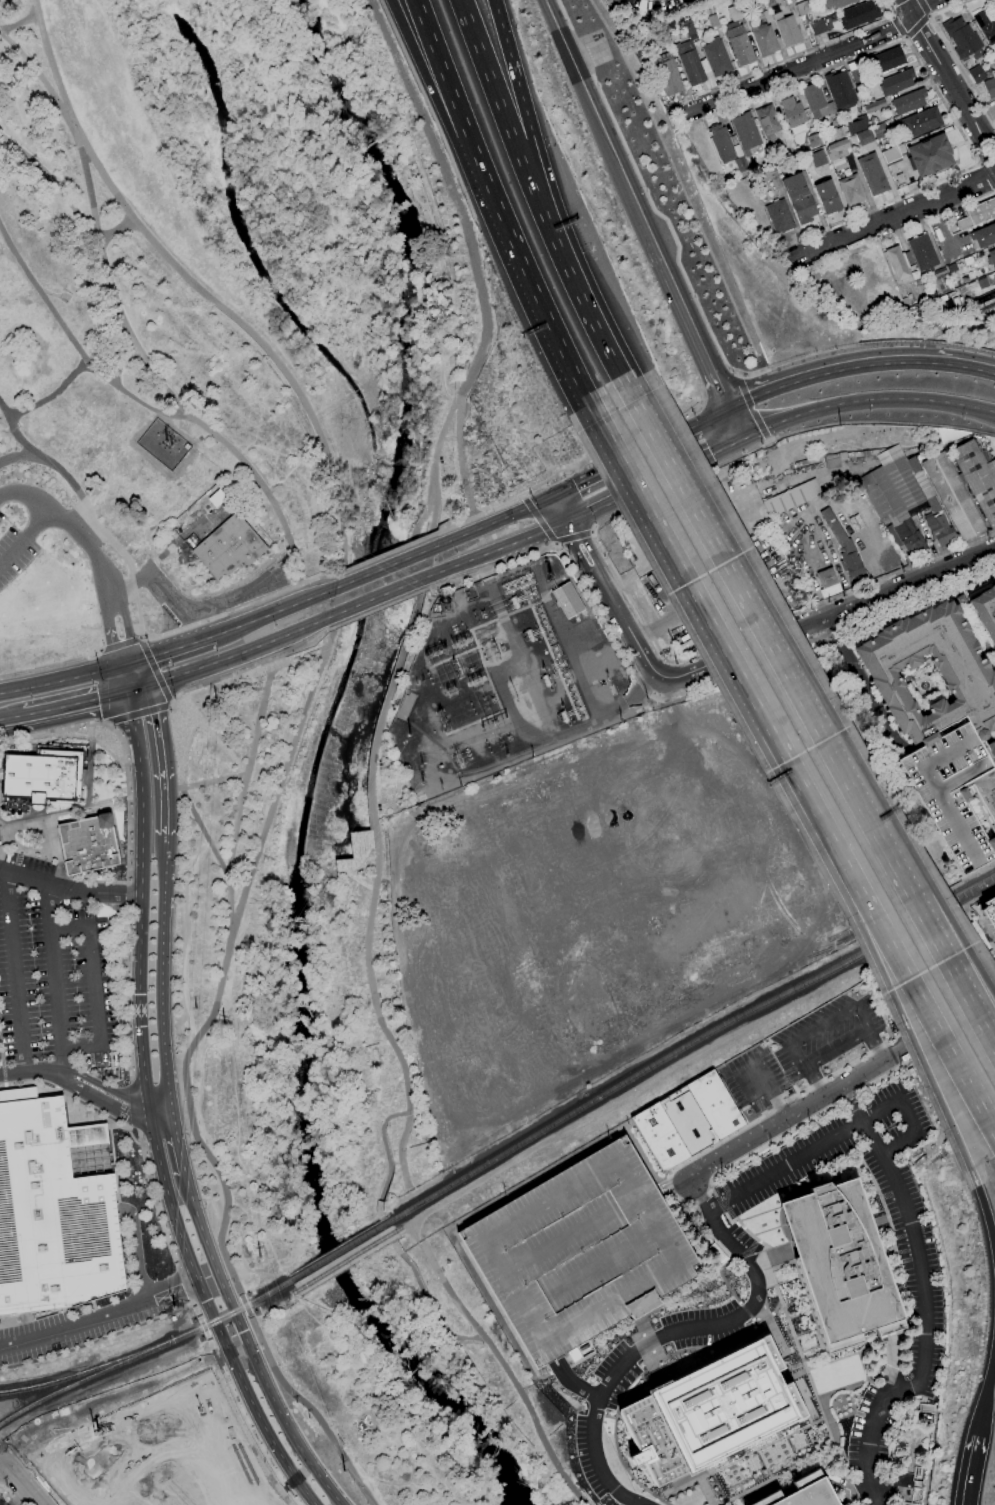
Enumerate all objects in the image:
building: (784, 0)
road: (897, 1)
building: (612, 3)
building: (770, 3)
building: (835, 3)
road: (890, 5)
road: (921, 5)
building: (802, 7)
road: (923, 7)
building: (735, 12)
building: (858, 14)
building: (766, 15)
road: (929, 15)
road: (892, 16)
building: (712, 20)
road: (21, 23)
road: (916, 25)
building: (818, 27)
road: (899, 27)
building: (786, 28)
building: (986, 28)
building: (689, 29)
building: (960, 36)
road: (905, 37)
building: (763, 39)
building: (738, 43)
road: (952, 52)
road: (863, 55)
road: (792, 56)
building: (716, 57)
building: (888, 58)
road: (938, 61)
building: (689, 62)
building: (704, 65)
road: (796, 66)
road: (512, 67)
building: (666, 73)
building: (855, 73)
building: (976, 74)
road: (448, 80)
building: (896, 81)
road: (429, 84)
building: (989, 86)
road: (494, 88)
building: (839, 90)
building: (815, 100)
building: (909, 101)
building: (878, 104)
building: (792, 111)
building: (872, 120)
building: (767, 121)
building: (921, 122)
road: (602, 123)
building: (857, 125)
building: (879, 130)
building: (745, 131)
building: (837, 133)
road: (986, 133)
building: (864, 137)
building: (814, 140)
building: (720, 142)
road: (981, 147)
building: (836, 149)
building: (736, 150)
building: (753, 151)
building: (930, 154)
building: (890, 155)
road: (529, 156)
building: (817, 158)
road: (988, 160)
building: (740, 163)
road: (980, 163)
building: (872, 174)
road: (987, 176)
building: (772, 177)
road: (55, 182)
building: (851, 189)
road: (452, 191)
building: (827, 196)
building: (798, 198)
road: (653, 204)
road: (879, 205)
building: (978, 214)
building: (778, 215)
road: (895, 215)
road: (118, 228)
road: (976, 228)
road: (946, 230)
road: (901, 232)
building: (984, 236)
building: (924, 253)
building: (991, 257)
building: (898, 263)
building: (952, 268)
building: (941, 272)
road: (573, 281)
road: (530, 283)
building: (943, 283)
building: (983, 283)
building: (973, 286)
park: (236, 317)
road: (130, 328)
road: (692, 328)
road: (74, 343)
road: (118, 346)
road: (858, 366)
road: (739, 376)
road: (629, 391)
road: (52, 396)
road: (867, 401)
road: (751, 407)
traffic signals: (728, 409)
road: (593, 411)
road: (713, 417)
road: (736, 424)
traffic signals: (744, 439)
road: (769, 439)
building: (163, 444)
power substation: (164, 445)
road: (14, 456)
road: (33, 456)
road: (462, 459)
road: (626, 460)
building: (913, 464)
road: (718, 465)
road: (666, 476)
building: (923, 484)
building: (891, 487)
building: (965, 488)
traffic signals: (554, 496)
road: (525, 497)
building: (791, 497)
road: (562, 509)
road: (480, 515)
road: (579, 518)
road: (540, 520)
road: (494, 521)
traffic signals: (570, 523)
road: (33, 525)
building: (904, 528)
building: (939, 529)
building: (837, 531)
road: (592, 532)
road: (574, 537)
road: (86, 541)
building: (912, 541)
road: (556, 542)
road: (558, 543)
building: (234, 547)
river: (381, 547)
road: (499, 549)
parking lot: (13, 550)
road: (386, 554)
road: (160, 556)
road: (278, 560)
road: (676, 561)
building: (851, 563)
road: (491, 566)
road: (384, 567)
building: (827, 582)
road: (212, 592)
parking lot: (215, 594)
road: (379, 596)
building: (567, 600)
road: (828, 600)
building: (961, 600)
road: (613, 601)
road: (192, 605)
road: (377, 608)
power tower: (450, 608)
building: (985, 611)
road: (108, 612)
road: (273, 612)
road: (333, 612)
road: (829, 616)
road: (128, 627)
road: (166, 632)
road: (141, 636)
road: (119, 643)
road: (98, 644)
road: (112, 646)
road: (176, 649)
road: (240, 653)
traffic signals: (139, 661)
road: (49, 663)
road: (128, 663)
traffic signals: (118, 666)
road: (250, 666)
road: (154, 668)
road: (740, 670)
road: (143, 673)
building: (967, 674)
road: (678, 676)
road: (122, 678)
road: (59, 679)
power substation: (505, 679)
traffic signals: (148, 685)
road: (137, 688)
road: (863, 688)
traffic signals: (126, 691)
power tower: (218, 699)
road: (592, 699)
road: (75, 703)
road: (169, 704)
road: (137, 712)
road: (12, 717)
road: (105, 723)
road: (814, 724)
road: (176, 743)
fountain: (79, 745)
building: (990, 751)
road: (164, 758)
road: (236, 759)
road: (90, 765)
road: (249, 770)
building: (40, 777)
road: (373, 788)
building: (986, 791)
building: (953, 792)
parking lot: (953, 792)
road: (78, 811)
road: (1, 823)
road: (2, 831)
road: (207, 834)
road: (54, 841)
building: (88, 844)
road: (129, 844)
road: (32, 854)
building: (356, 854)
parking lot: (28, 862)
road: (357, 865)
road: (89, 882)
road: (70, 889)
building: (991, 902)
road: (229, 908)
road: (874, 918)
road: (955, 928)
road: (864, 932)
road: (162, 971)
road: (18, 973)
parking lot: (55, 978)
road: (57, 979)
road: (95, 986)
power tower: (199, 1009)
road: (824, 1023)
power tower: (227, 1025)
road: (2, 1042)
railway: (690, 1044)
road: (876, 1047)
parking lot: (802, 1049)
road: (837, 1049)
road: (4, 1072)
road: (32, 1072)
road: (74, 1079)
road: (5, 1082)
road: (815, 1083)
park: (330, 1087)
road: (842, 1089)
road: (117, 1091)
road: (74, 1102)
road: (104, 1104)
road: (778, 1104)
road: (136, 1105)
road: (180, 1107)
road: (161, 1114)
road: (150, 1115)
river: (304, 1116)
building: (688, 1120)
road: (838, 1136)
road: (178, 1140)
road: (388, 1157)
road: (669, 1186)
road: (714, 1193)
road: (726, 1197)
road: (720, 1204)
building: (54, 1208)
road: (707, 1210)
road: (985, 1211)
road: (879, 1220)
road: (743, 1225)
parking lot: (911, 1228)
road: (708, 1234)
road: (739, 1237)
railway: (341, 1250)
road: (747, 1251)
building: (580, 1252)
parking lot: (580, 1252)
road: (135, 1255)
power tower: (262, 1257)
road: (729, 1263)
building: (841, 1265)
road: (902, 1275)
road: (174, 1287)
road: (433, 1306)
power tower: (176, 1307)
road: (925, 1308)
railway: (222, 1317)
road: (76, 1323)
road: (202, 1325)
river: (384, 1330)
parking lot: (54, 1332)
road: (659, 1337)
road: (250, 1346)
road: (800, 1351)
road: (507, 1371)
railway: (77, 1375)
road: (279, 1376)
road: (878, 1383)
road: (987, 1383)
railway: (74, 1384)
road: (844, 1388)
building: (710, 1412)
road: (977, 1429)
road: (604, 1462)
power tower: (343, 1471)
road: (970, 1472)
road: (37, 1479)
road: (358, 1480)
road: (846, 1481)
road: (22, 1484)
road: (755, 1487)
building: (803, 1492)
road: (13, 1498)
road: (636, 1502)
building: (909, 1503)

